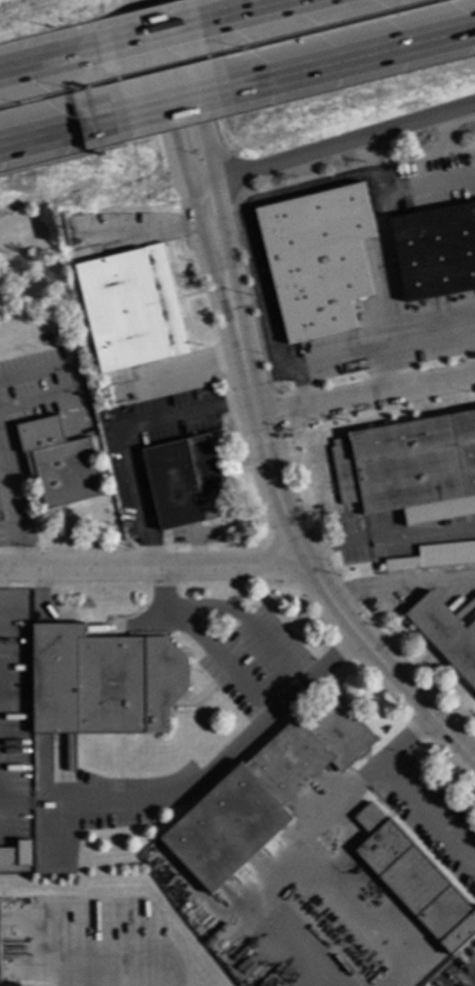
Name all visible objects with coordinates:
road: (257, 10)
road: (159, 35)
road: (355, 59)
road: (51, 61)
road: (178, 103)
road: (60, 132)
road: (332, 147)
road: (218, 208)
road: (196, 210)
road: (381, 217)
road: (243, 226)
building: (436, 252)
building: (318, 259)
building: (131, 308)
building: (46, 337)
road: (429, 341)
road: (341, 359)
building: (68, 365)
road: (191, 375)
road: (366, 397)
road: (126, 435)
building: (58, 462)
building: (409, 468)
building: (186, 482)
road: (14, 502)
building: (0, 519)
road: (421, 532)
road: (334, 545)
building: (437, 556)
road: (151, 565)
road: (401, 586)
road: (37, 601)
road: (337, 610)
building: (446, 635)
parking lot: (253, 660)
building: (103, 681)
road: (267, 696)
road: (405, 742)
road: (472, 759)
road: (225, 762)
building: (264, 791)
road: (339, 806)
road: (428, 814)
building: (23, 853)
road: (270, 873)
building: (415, 881)
road: (121, 905)
road: (352, 906)
building: (272, 982)
building: (9, 985)

